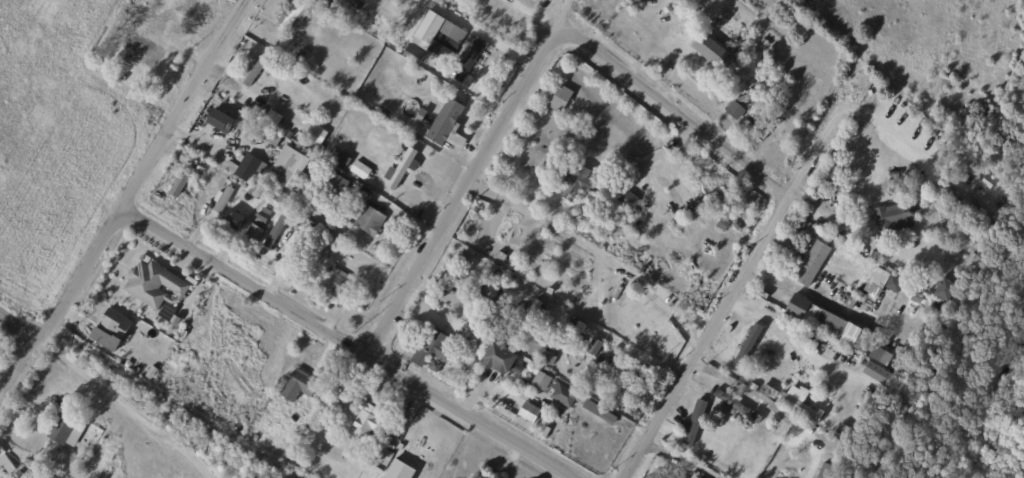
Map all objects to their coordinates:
building: (632, 5)
building: (141, 17)
building: (291, 19)
road: (563, 19)
building: (698, 22)
building: (803, 23)
building: (427, 30)
building: (450, 39)
building: (145, 52)
building: (709, 52)
building: (301, 57)
building: (469, 65)
building: (257, 72)
road: (533, 78)
building: (446, 79)
building: (749, 97)
building: (560, 100)
building: (741, 103)
building: (243, 105)
building: (733, 113)
building: (261, 114)
building: (382, 117)
building: (273, 118)
building: (419, 118)
building: (220, 123)
building: (761, 124)
building: (449, 128)
road: (885, 129)
building: (265, 135)
building: (315, 137)
road: (817, 145)
building: (188, 157)
building: (245, 168)
building: (404, 168)
road: (143, 169)
building: (293, 171)
building: (389, 173)
building: (894, 174)
building: (836, 177)
building: (577, 184)
building: (179, 185)
building: (952, 194)
building: (224, 199)
building: (625, 201)
road: (819, 204)
building: (303, 210)
building: (263, 217)
building: (368, 221)
building: (893, 221)
building: (232, 222)
building: (330, 227)
building: (722, 227)
building: (966, 233)
building: (253, 236)
building: (812, 264)
building: (876, 276)
building: (890, 283)
building: (333, 285)
building: (156, 286)
building: (944, 290)
building: (911, 297)
road: (817, 299)
building: (816, 318)
building: (527, 321)
road: (17, 325)
building: (110, 329)
road: (705, 339)
road: (338, 341)
road: (792, 343)
building: (593, 348)
building: (752, 348)
building: (432, 350)
building: (617, 350)
building: (537, 351)
building: (498, 361)
building: (890, 361)
building: (521, 363)
road: (17, 364)
building: (434, 367)
building: (883, 376)
building: (541, 380)
building: (748, 382)
building: (344, 384)
building: (298, 387)
building: (698, 390)
building: (565, 397)
road: (758, 398)
building: (799, 403)
road: (122, 407)
building: (335, 407)
building: (590, 408)
building: (726, 409)
building: (528, 412)
building: (755, 418)
building: (368, 420)
building: (66, 430)
building: (693, 430)
building: (256, 439)
building: (399, 447)
road: (668, 452)
building: (383, 457)
building: (7, 462)
building: (401, 471)
building: (825, 471)
building: (482, 476)
building: (679, 477)

